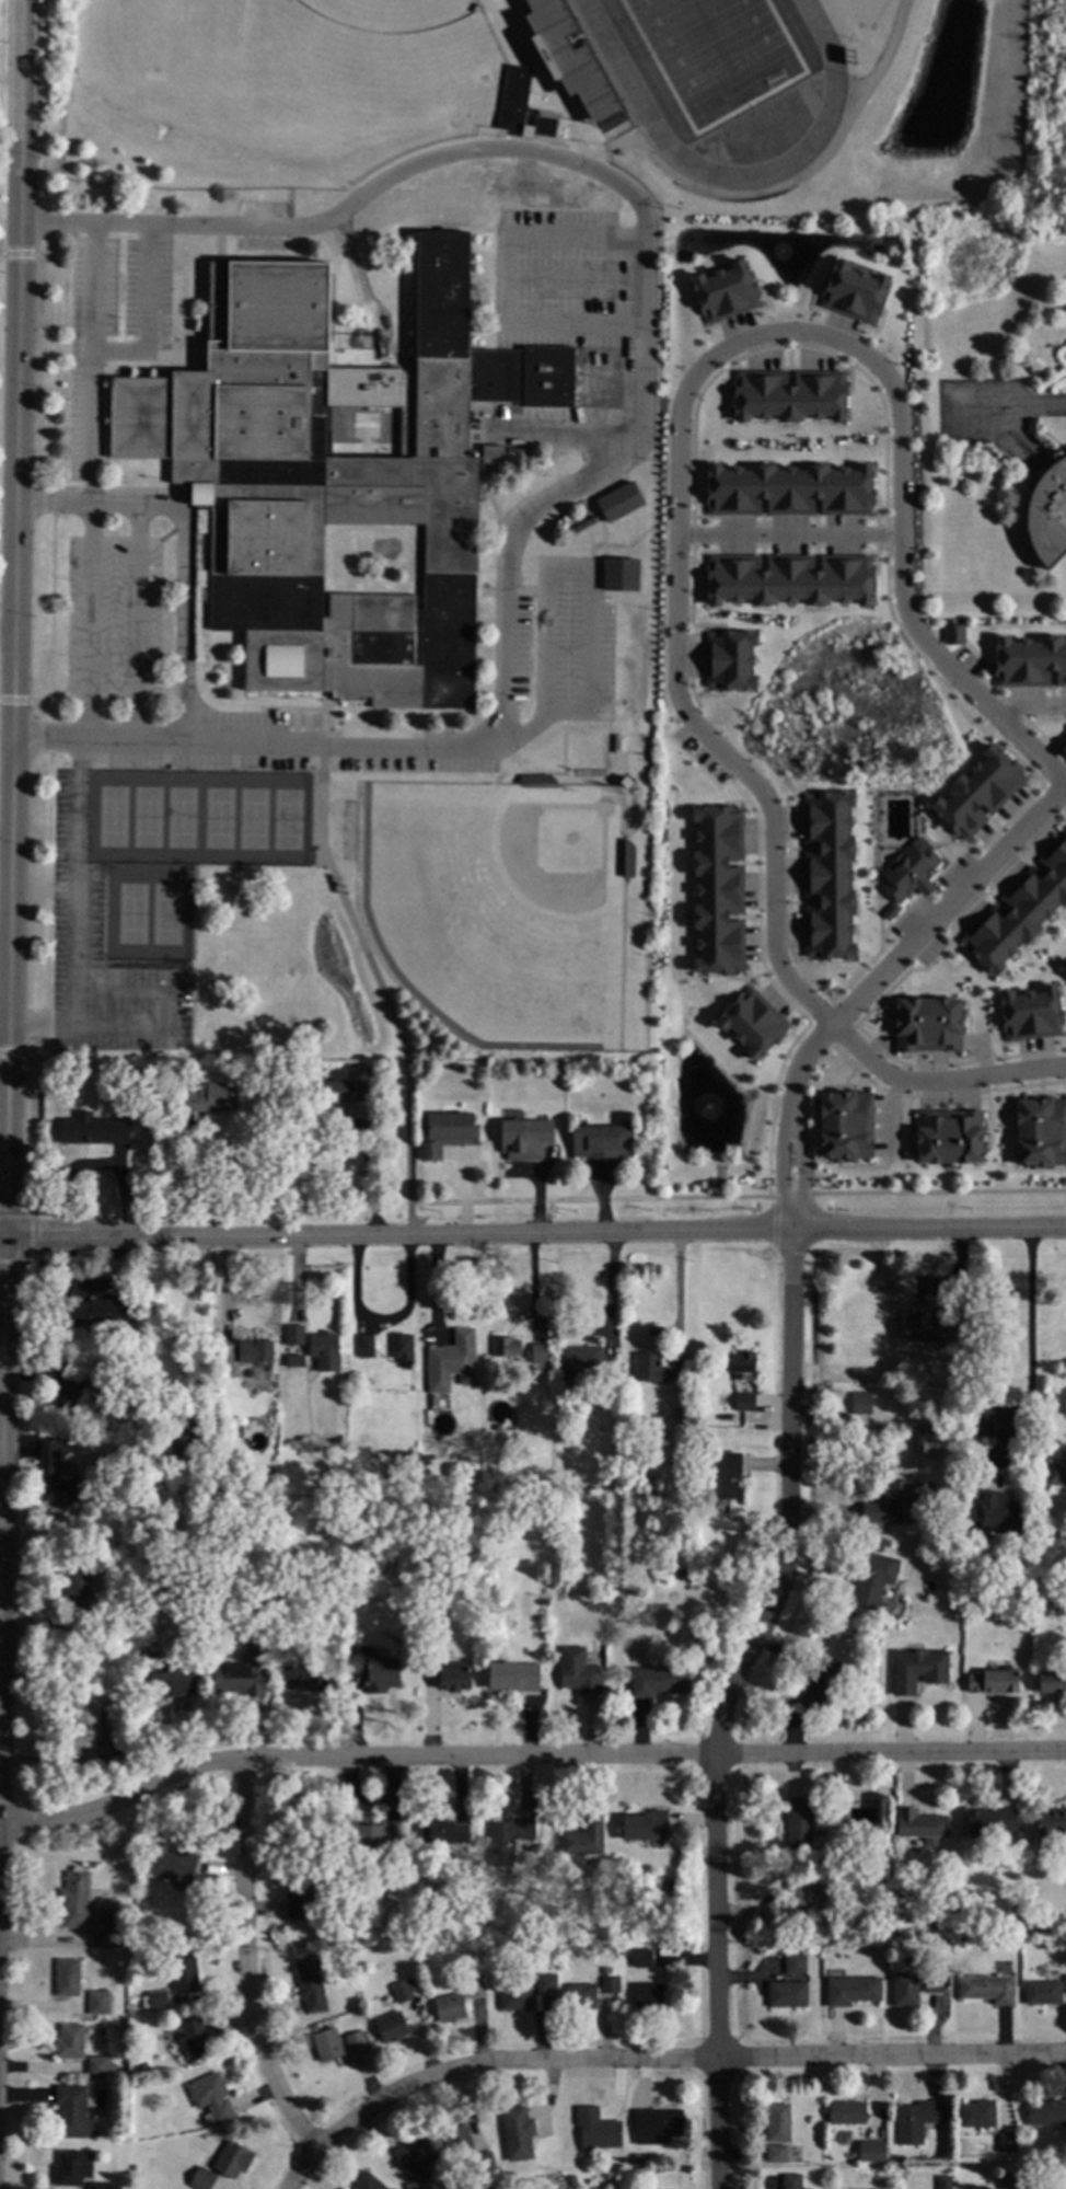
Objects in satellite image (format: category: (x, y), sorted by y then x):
park: (866, 12)
park: (392, 13)
park: (160, 36)
park: (716, 51)
building: (571, 60)
building: (511, 97)
building: (543, 126)
building: (525, 131)
track: (732, 176)
road: (778, 189)
road: (9, 217)
road: (506, 279)
road: (576, 279)
building: (725, 292)
building: (853, 292)
road: (847, 343)
road: (117, 354)
building: (788, 395)
road: (1036, 407)
road: (645, 424)
road: (91, 428)
building: (350, 429)
road: (565, 434)
building: (332, 474)
building: (788, 491)
building: (618, 502)
road: (95, 503)
building: (1047, 514)
road: (788, 535)
road: (555, 566)
building: (619, 575)
building: (788, 580)
road: (11, 620)
road: (90, 620)
road: (137, 620)
road: (181, 620)
road: (5, 633)
building: (953, 635)
building: (729, 660)
building: (1029, 661)
road: (1030, 705)
building: (1063, 750)
building: (543, 758)
building: (612, 768)
building: (535, 780)
building: (977, 793)
park: (184, 844)
road: (770, 869)
building: (906, 871)
building: (827, 876)
building: (718, 890)
park: (499, 906)
building: (1019, 911)
road: (77, 915)
road: (4, 947)
building: (1065, 971)
road: (871, 983)
road: (380, 986)
road: (4, 1005)
road: (165, 1011)
building: (1030, 1014)
building: (926, 1024)
building: (776, 1027)
road: (4, 1029)
building: (169, 1067)
building: (457, 1067)
building: (555, 1067)
building: (153, 1072)
road: (938, 1084)
building: (346, 1091)
building: (209, 1097)
road: (890, 1116)
building: (843, 1125)
building: (93, 1129)
building: (1039, 1131)
building: (447, 1133)
building: (525, 1137)
building: (948, 1137)
building: (602, 1141)
road: (207, 1185)
road: (14, 1218)
road: (738, 1229)
road: (207, 1237)
road: (2, 1242)
road: (30, 1255)
road: (677, 1291)
building: (102, 1311)
road: (1, 1312)
building: (928, 1322)
road: (382, 1324)
building: (294, 1334)
building: (505, 1345)
building: (366, 1346)
building: (402, 1347)
road: (1028, 1347)
building: (324, 1348)
building: (254, 1350)
building: (538, 1351)
building: (225, 1353)
building: (95, 1358)
building: (296, 1360)
building: (452, 1361)
building: (579, 1362)
building: (742, 1363)
building: (657, 1369)
building: (69, 1386)
road: (0, 1396)
building: (224, 1397)
building: (860, 1401)
building: (744, 1402)
building: (675, 1414)
building: (982, 1425)
road: (1, 1429)
building: (181, 1439)
building: (929, 1440)
building: (123, 1447)
building: (710, 1449)
building: (1058, 1464)
building: (449, 1470)
building: (730, 1474)
building: (59, 1478)
building: (541, 1486)
building: (889, 1502)
building: (1033, 1508)
building: (995, 1511)
road: (1, 1525)
building: (952, 1553)
building: (681, 1575)
building: (872, 1578)
building: (325, 1593)
building: (78, 1598)
building: (374, 1669)
building: (917, 1669)
building: (579, 1670)
building: (448, 1671)
building: (243, 1673)
building: (513, 1675)
building: (308, 1678)
building: (172, 1680)
building: (658, 1680)
building: (993, 1681)
building: (1052, 1681)
building: (123, 1686)
building: (818, 1686)
road: (725, 1702)
building: (84, 1720)
building: (120, 1749)
road: (526, 1755)
road: (7, 1802)
building: (990, 1820)
building: (1051, 1820)
building: (798, 1822)
building: (920, 1823)
building: (645, 1824)
building: (443, 1831)
building: (375, 1833)
building: (583, 1836)
building: (508, 1837)
building: (173, 1864)
building: (335, 1867)
building: (878, 1890)
building: (300, 1892)
building: (804, 1898)
building: (74, 1899)
building: (670, 1899)
building: (462, 1900)
building: (106, 1919)
building: (934, 1922)
building: (1033, 1929)
building: (407, 1932)
building: (140, 1936)
building: (104, 1938)
building: (1029, 1949)
building: (622, 1950)
building: (165, 1955)
building: (642, 1957)
building: (795, 1963)
building: (942, 1967)
building: (606, 1969)
building: (183, 1973)
building: (68, 1977)
building: (679, 1980)
building: (545, 1982)
building: (931, 1982)
building: (310, 1983)
building: (610, 1983)
building: (1065, 1983)
road: (248, 1984)
building: (475, 1985)
building: (986, 1988)
building: (904, 1989)
building: (851, 1990)
building: (402, 1991)
building: (1042, 1992)
building: (787, 1993)
building: (581, 1995)
building: (648, 1995)
building: (514, 1996)
building: (158, 2000)
building: (144, 2001)
building: (99, 2002)
building: (449, 2007)
building: (391, 2027)
building: (195, 2038)
building: (70, 2040)
building: (355, 2040)
building: (326, 2043)
road: (681, 2059)
building: (140, 2063)
building: (99, 2065)
building: (211, 2097)
building: (73, 2111)
building: (1046, 2111)
building: (847, 2112)
building: (977, 2113)
building: (916, 2119)
building: (777, 2121)
building: (657, 2124)
building: (596, 2128)
building: (517, 2132)
building: (456, 2136)
building: (1007, 2142)
building: (873, 2145)
building: (776, 2153)
building: (416, 2157)
building: (229, 2159)
building: (635, 2159)
building: (484, 2162)
building: (72, 2166)
building: (1061, 2174)
building: (201, 2178)
building: (572, 2179)
building: (791, 2180)
building: (1007, 2180)
building: (943, 2181)
building: (367, 2182)
building: (100, 2186)
building: (422, 2187)
building: (427, 2187)
building: (430, 2188)
building: (528, 2188)

